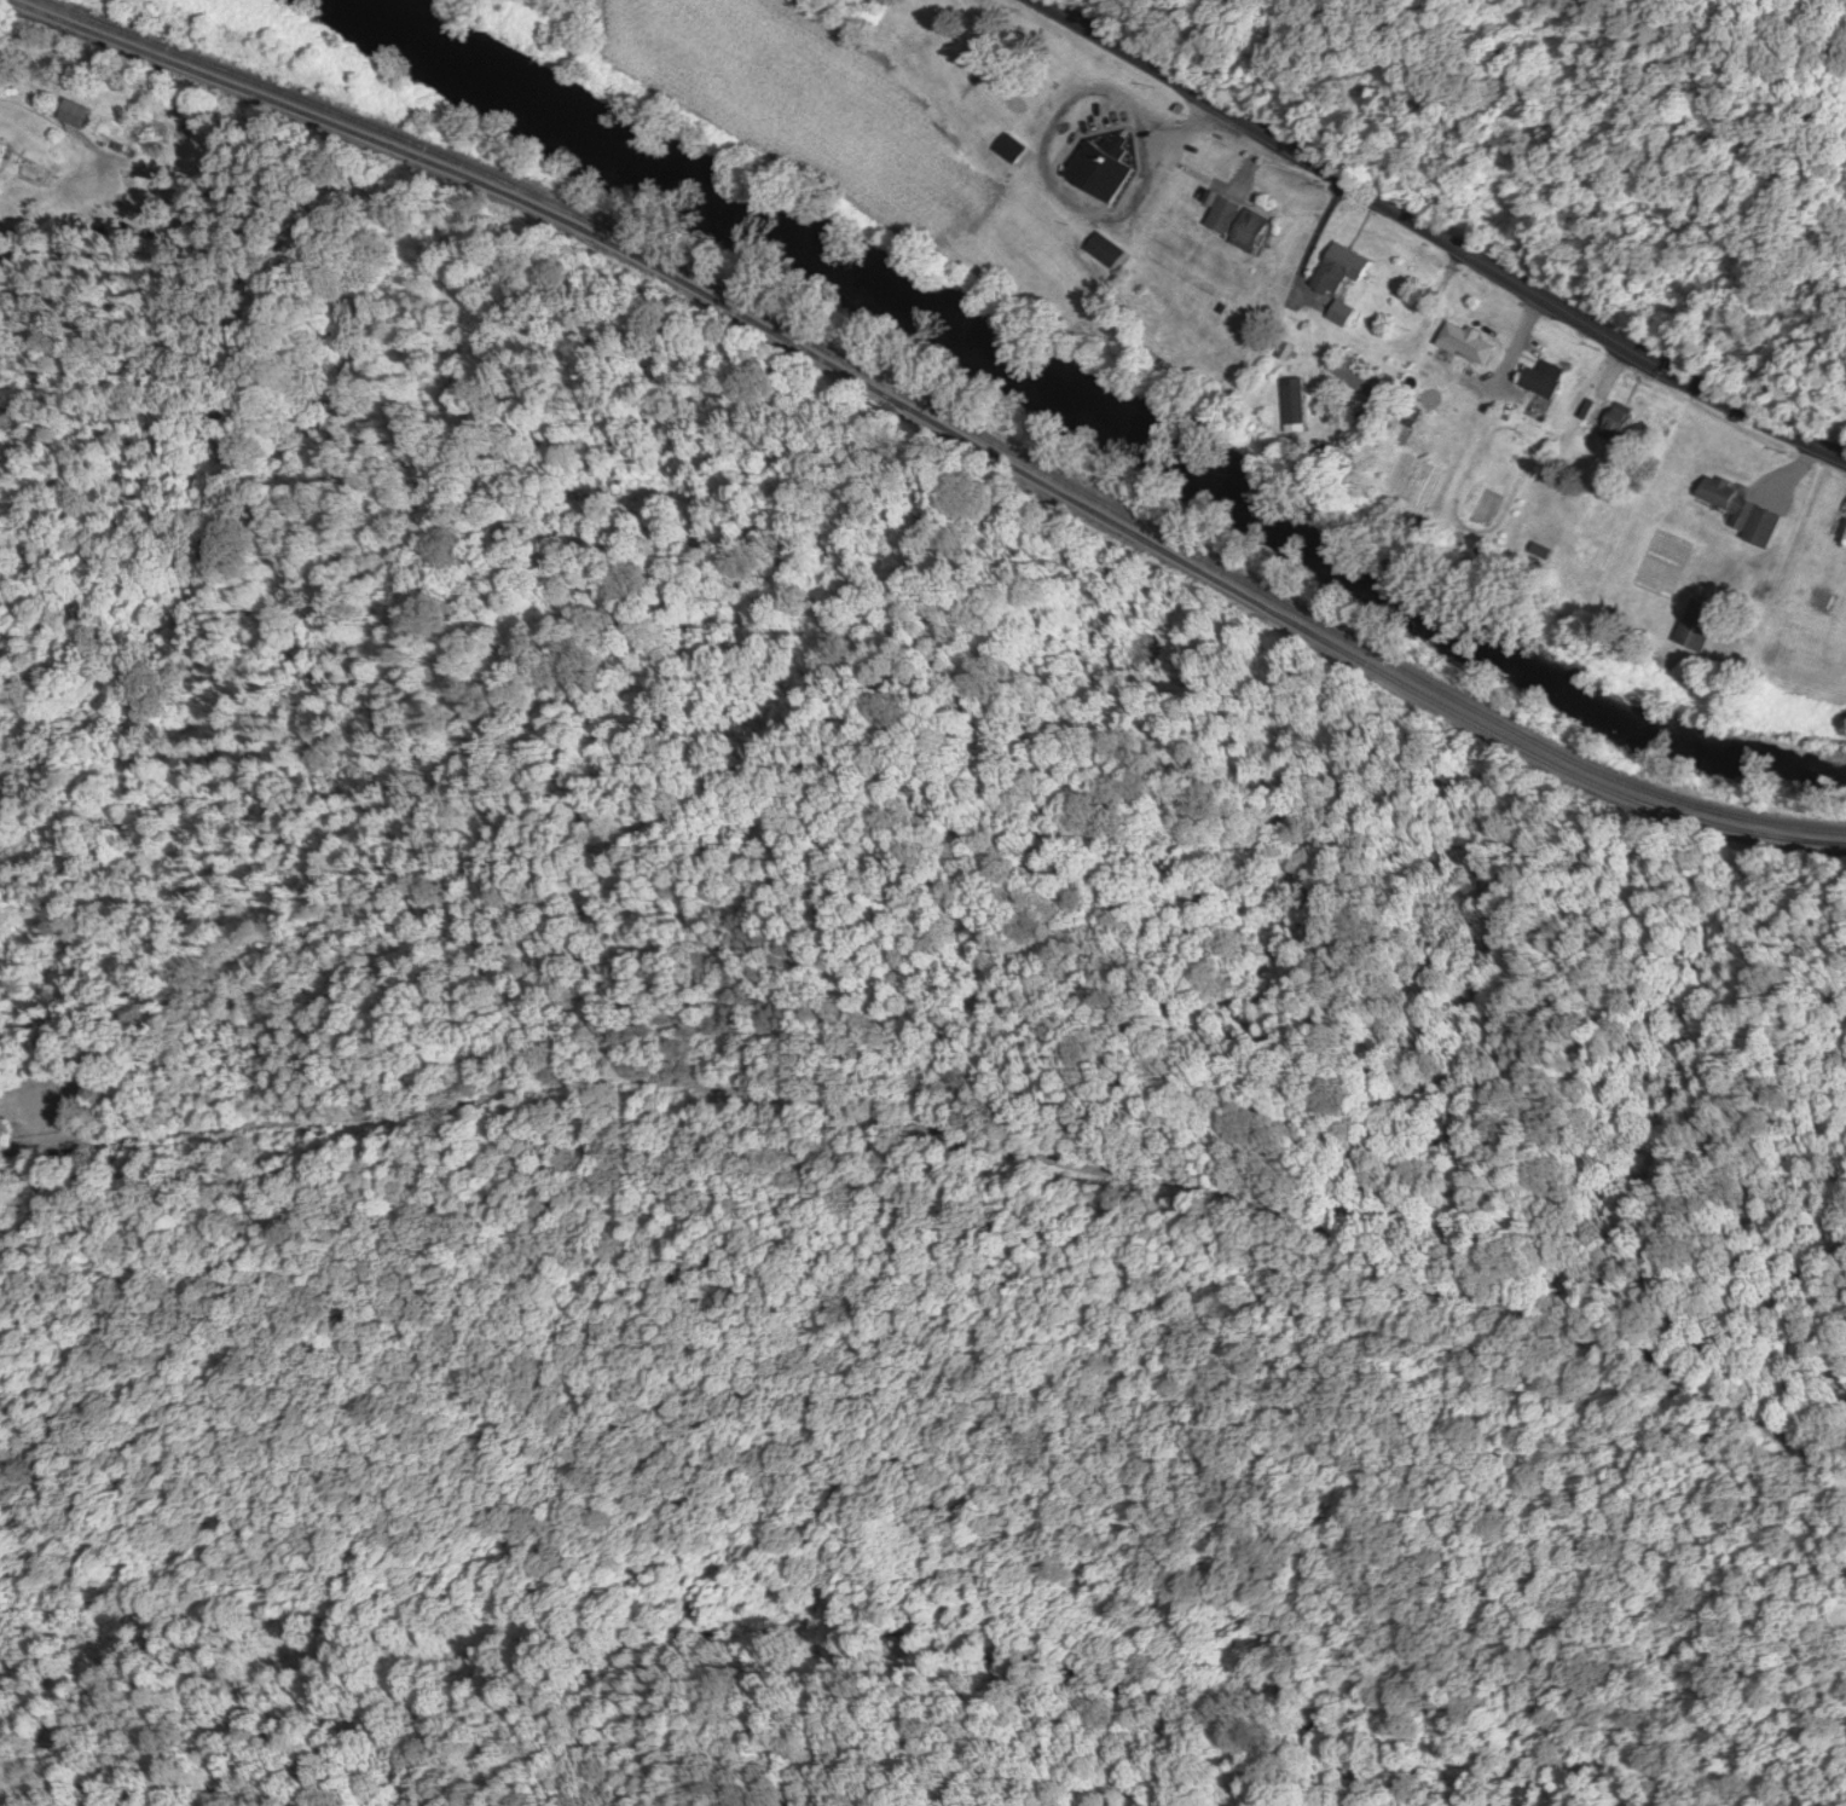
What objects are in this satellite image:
building: (926, 31)
building: (999, 91)
building: (71, 111)
building: (105, 131)
building: (1, 147)
building: (1098, 167)
building: (1232, 219)
road: (1439, 235)
building: (1336, 268)
building: (1336, 309)
building: (1462, 340)
building: (1538, 376)
building: (1356, 380)
river: (1104, 416)
building: (1603, 416)
railway: (934, 421)
building: (1736, 508)
building: (1688, 621)
road: (953, 1232)
road: (1394, 1327)

